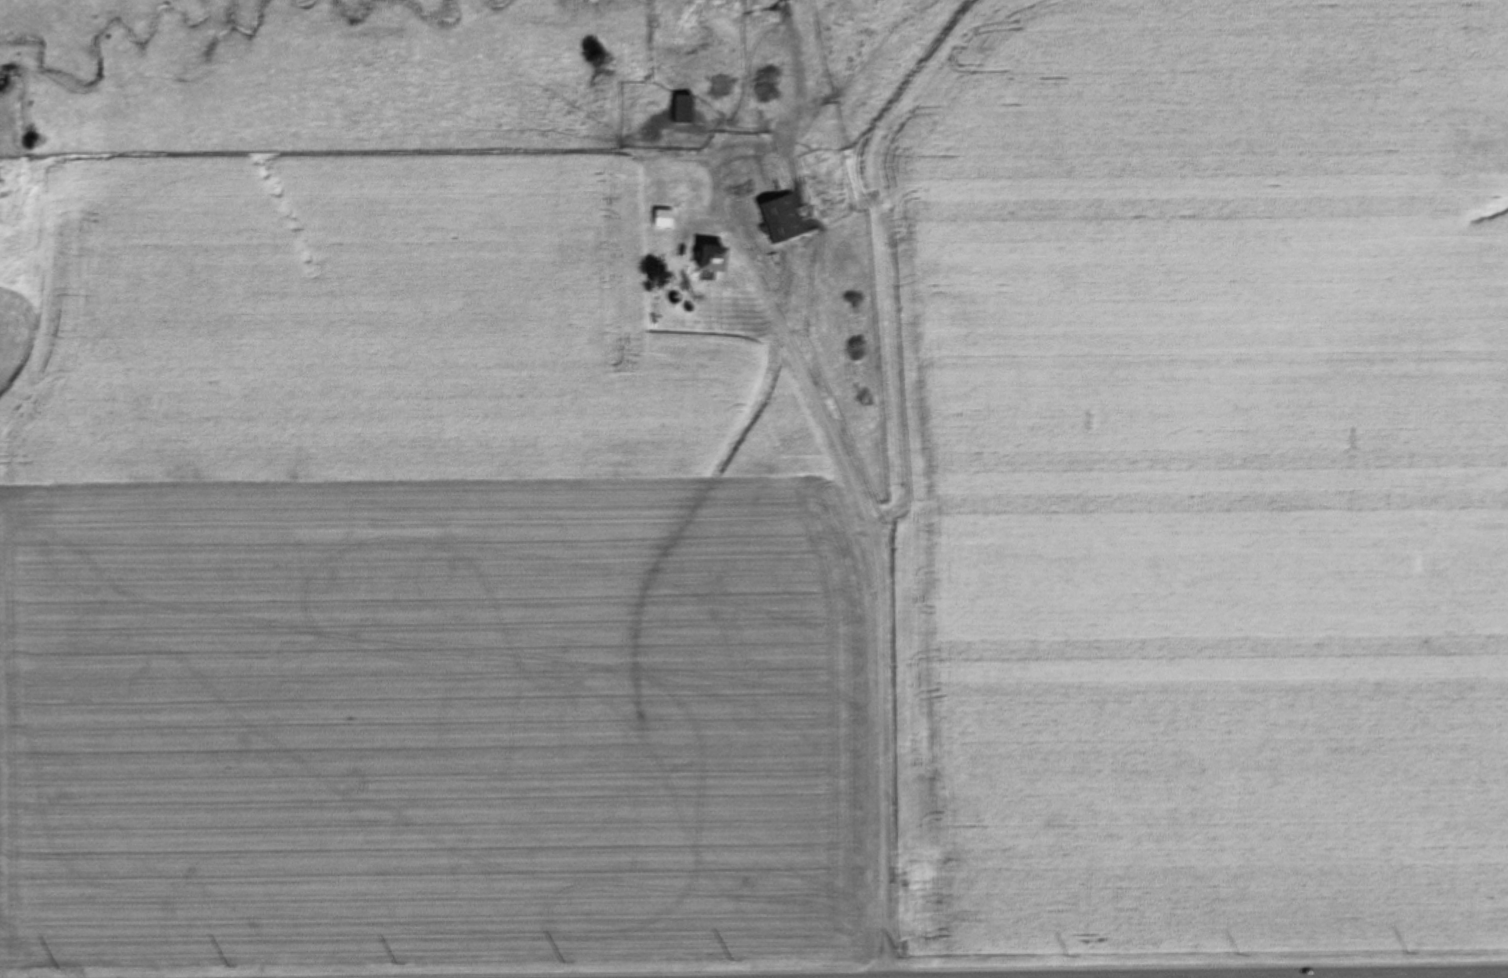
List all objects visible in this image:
building: (682, 109)
building: (662, 218)
building: (782, 219)
building: (710, 258)
road: (870, 615)
road: (954, 959)

